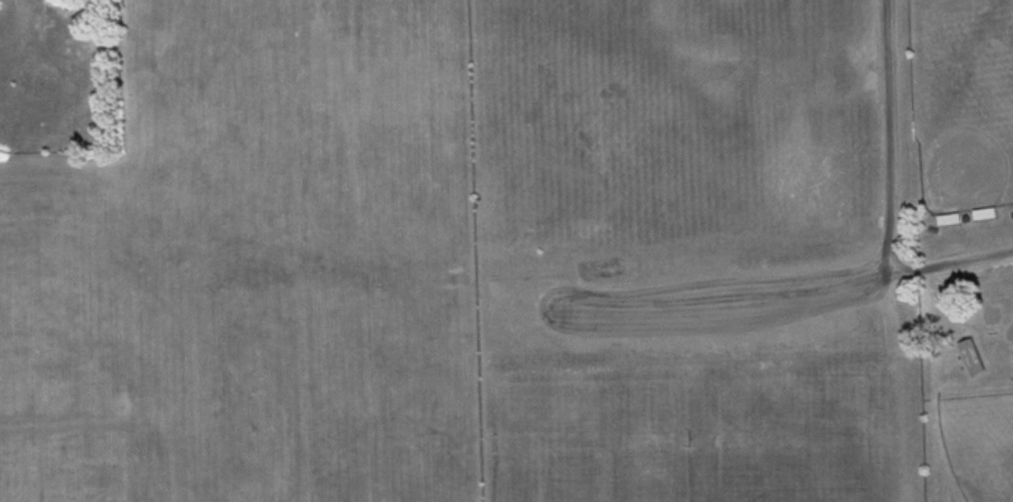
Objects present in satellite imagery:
park: (966, 118)
road: (891, 189)
park: (744, 249)
road: (726, 305)
parking lot: (705, 313)
building: (971, 357)
park: (978, 447)

